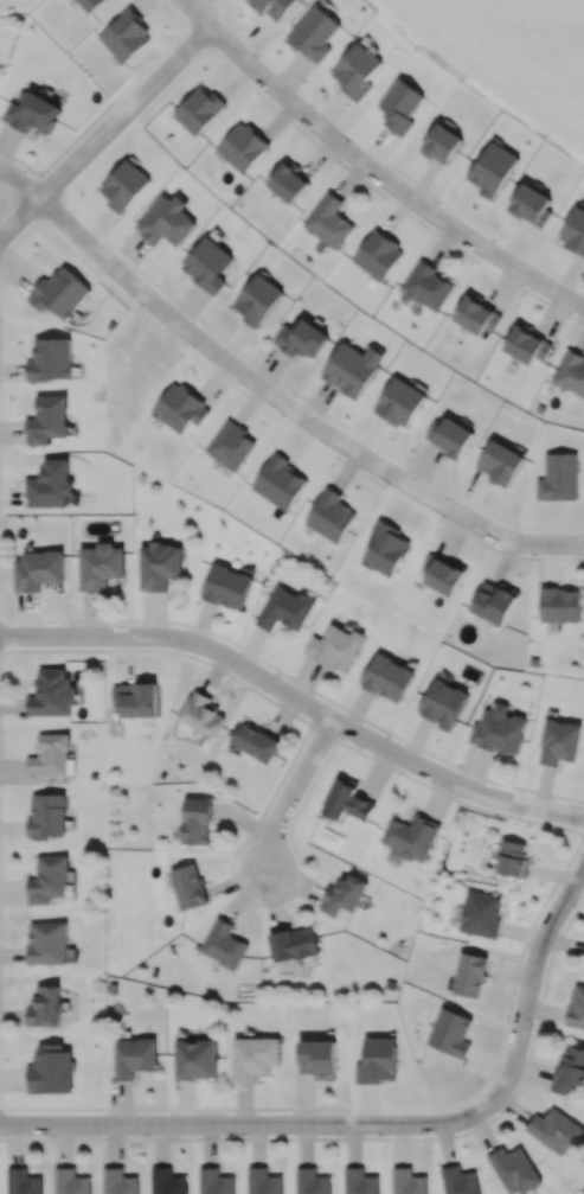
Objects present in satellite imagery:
building: (91, 5)
building: (271, 7)
building: (314, 34)
building: (124, 36)
building: (355, 71)
building: (399, 106)
building: (198, 110)
building: (33, 113)
road: (103, 133)
building: (441, 143)
building: (242, 147)
building: (493, 168)
road: (370, 171)
building: (287, 181)
building: (124, 185)
building: (531, 205)
building: (166, 221)
building: (328, 221)
building: (573, 230)
building: (377, 255)
building: (207, 264)
building: (426, 286)
building: (59, 293)
building: (257, 299)
building: (477, 315)
building: (301, 338)
building: (526, 343)
building: (50, 359)
building: (352, 369)
building: (570, 372)
road: (272, 396)
building: (399, 402)
building: (180, 408)
building: (47, 420)
building: (449, 436)
building: (230, 446)
building: (500, 462)
building: (559, 477)
building: (278, 483)
building: (50, 484)
building: (329, 516)
building: (385, 549)
building: (100, 566)
building: (159, 566)
building: (38, 569)
building: (442, 574)
building: (226, 586)
building: (494, 601)
building: (559, 605)
building: (284, 609)
building: (335, 646)
building: (386, 677)
building: (52, 692)
building: (135, 698)
road: (299, 701)
building: (442, 703)
building: (201, 714)
building: (499, 729)
building: (558, 741)
building: (255, 742)
building: (51, 755)
road: (288, 796)
building: (347, 800)
building: (47, 815)
building: (195, 821)
building: (411, 837)
building: (512, 857)
building: (49, 879)
building: (188, 887)
building: (344, 894)
building: (481, 913)
building: (47, 941)
building: (293, 943)
building: (223, 944)
building: (469, 973)
road: (525, 987)
building: (45, 1005)
building: (450, 1033)
building: (134, 1056)
building: (255, 1056)
building: (319, 1058)
building: (195, 1059)
building: (377, 1060)
building: (51, 1070)
building: (569, 1070)
road: (244, 1123)
building: (556, 1130)
building: (514, 1169)
building: (23, 1181)
building: (118, 1181)
building: (167, 1181)
building: (214, 1181)
building: (263, 1181)
building: (312, 1181)
building: (359, 1181)
building: (407, 1181)
building: (458, 1181)
building: (71, 1182)

